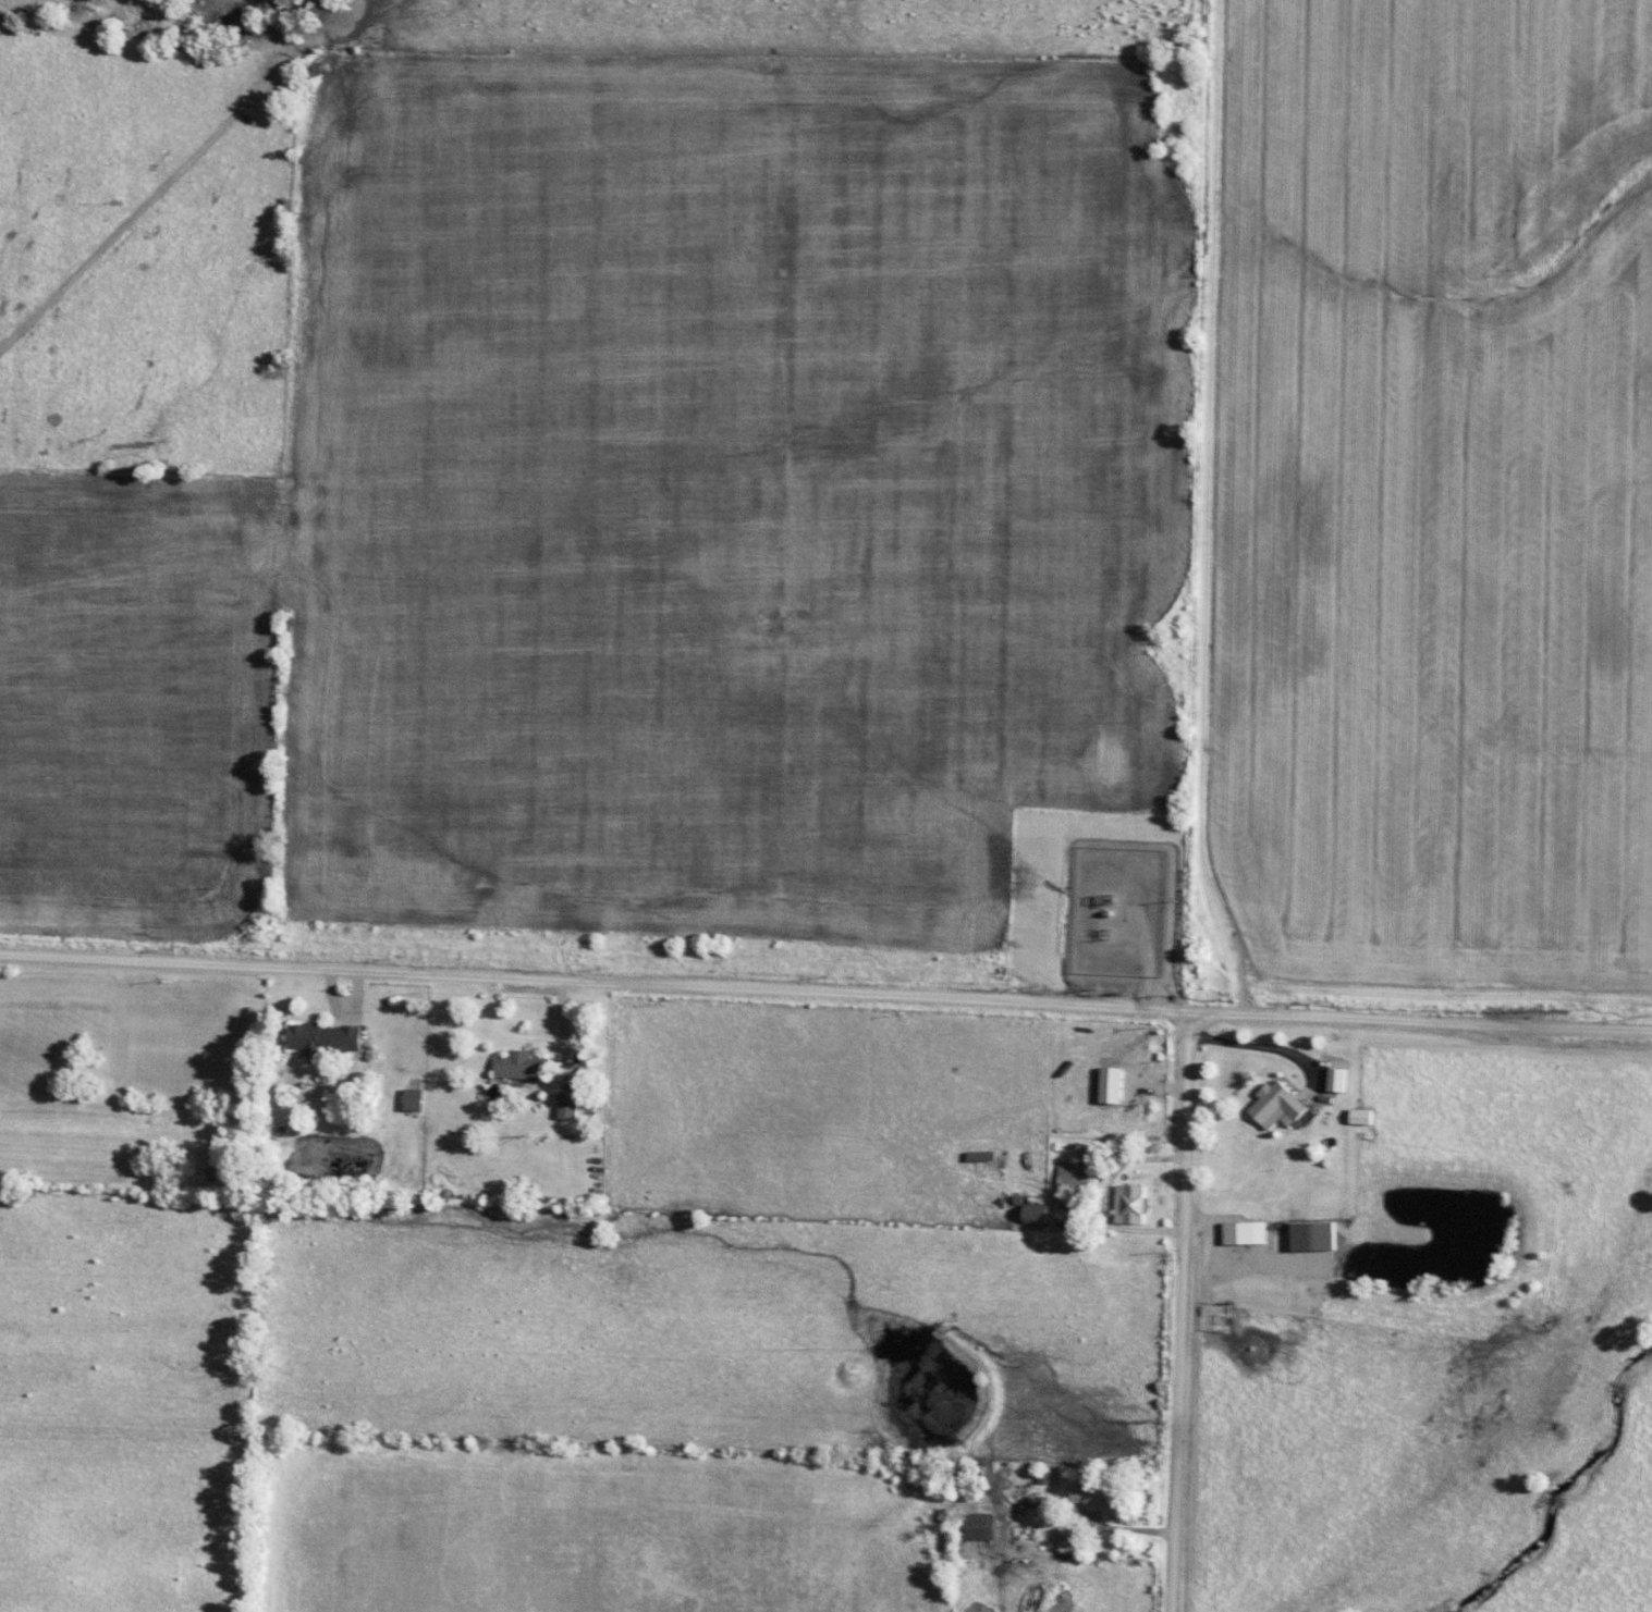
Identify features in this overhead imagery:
road: (1210, 510)
power substation: (1115, 911)
road: (825, 992)
building: (327, 1034)
road: (527, 1042)
road: (1272, 1047)
building: (524, 1062)
building: (1341, 1075)
building: (1115, 1081)
building: (1281, 1099)
building: (570, 1102)
building: (1363, 1112)
road: (1105, 1197)
building: (1133, 1199)
building: (1041, 1211)
building: (1247, 1229)
building: (1318, 1232)
road: (1180, 1312)
building: (1096, 1491)
building: (982, 1523)

